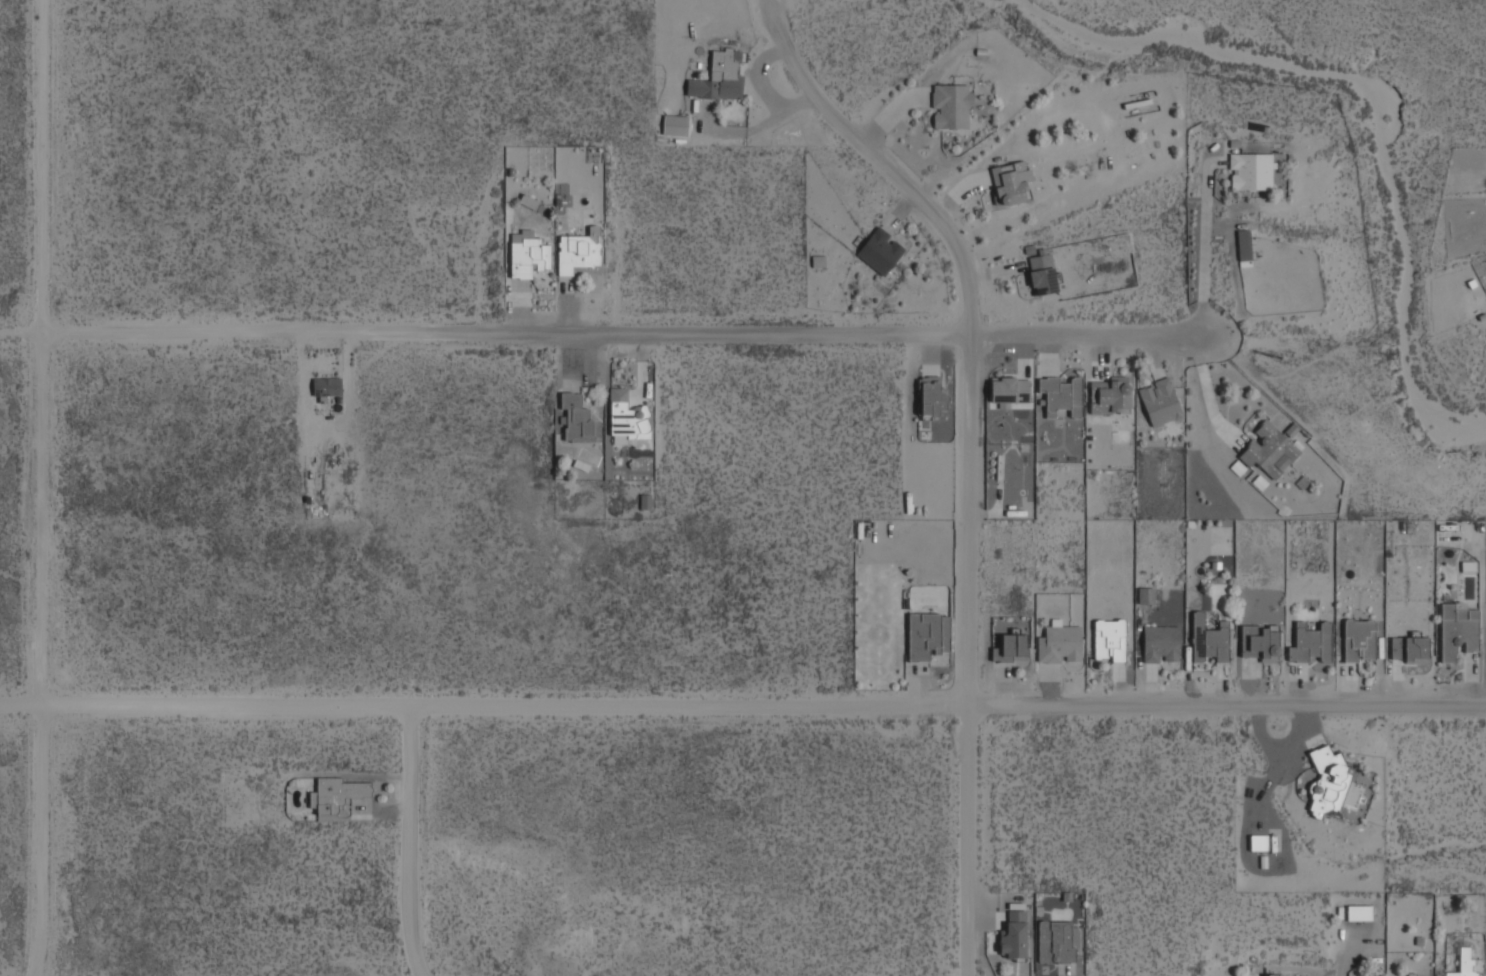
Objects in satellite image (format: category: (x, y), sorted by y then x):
building: (718, 79)
building: (950, 107)
building: (674, 126)
building: (1250, 172)
building: (1010, 183)
building: (1243, 247)
road: (1204, 250)
building: (578, 251)
building: (879, 252)
building: (527, 255)
building: (1042, 275)
road: (23, 334)
road: (625, 334)
building: (1009, 391)
building: (1110, 396)
building: (931, 397)
building: (1061, 397)
building: (1160, 403)
building: (577, 420)
building: (627, 421)
building: (1269, 450)
road: (967, 455)
road: (47, 489)
building: (644, 502)
building: (1146, 596)
building: (1457, 633)
building: (944, 634)
building: (923, 637)
building: (1109, 640)
building: (1358, 640)
building: (1311, 643)
building: (1059, 644)
building: (1160, 644)
building: (1260, 644)
building: (1010, 649)
building: (1409, 650)
road: (742, 707)
building: (1327, 782)
road: (410, 843)
building: (1258, 843)
building: (1359, 914)
building: (1013, 936)
building: (1054, 942)
building: (1463, 964)
building: (1274, 975)
building: (1411, 975)

